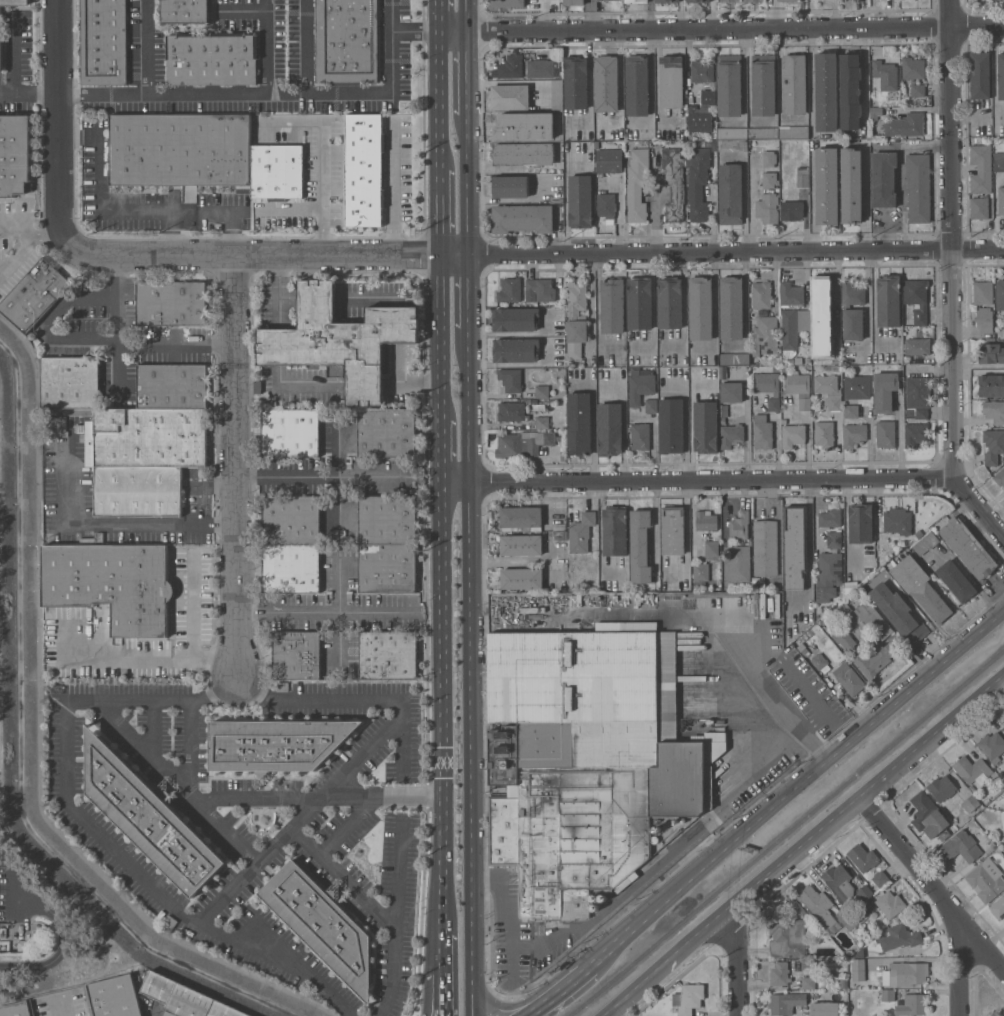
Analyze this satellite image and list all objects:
building: (600, 0)
building: (636, 0)
building: (742, 0)
building: (789, 0)
building: (666, 1)
building: (698, 1)
building: (574, 2)
building: (508, 3)
building: (185, 11)
road: (772, 15)
road: (466, 16)
road: (591, 16)
road: (437, 17)
road: (720, 30)
road: (397, 34)
building: (1, 38)
building: (348, 41)
building: (104, 42)
road: (264, 46)
road: (307, 46)
road: (12, 55)
building: (212, 60)
building: (509, 67)
building: (542, 68)
building: (912, 68)
building: (701, 71)
road: (467, 73)
building: (980, 74)
building: (885, 75)
building: (1001, 75)
road: (813, 79)
road: (864, 79)
road: (589, 81)
building: (575, 82)
building: (671, 82)
road: (780, 82)
building: (606, 83)
building: (794, 83)
building: (763, 84)
building: (637, 85)
building: (729, 85)
road: (145, 90)
building: (918, 90)
road: (29, 91)
building: (850, 91)
building: (826, 92)
road: (297, 93)
building: (556, 96)
building: (510, 97)
building: (708, 97)
road: (438, 101)
building: (875, 113)
building: (699, 120)
road: (59, 123)
building: (905, 125)
building: (512, 127)
building: (793, 132)
building: (732, 133)
building: (763, 133)
building: (732, 145)
building: (180, 149)
building: (784, 151)
building: (14, 154)
building: (523, 154)
road: (324, 158)
building: (768, 158)
building: (609, 161)
building: (998, 164)
building: (364, 169)
building: (981, 169)
building: (277, 172)
building: (803, 177)
building: (883, 179)
building: (769, 180)
building: (698, 183)
road: (467, 184)
building: (673, 184)
building: (637, 185)
building: (827, 185)
building: (851, 185)
building: (510, 186)
building: (918, 187)
road: (394, 190)
building: (730, 194)
building: (580, 201)
building: (1000, 203)
building: (606, 205)
road: (290, 208)
building: (767, 208)
building: (979, 208)
building: (791, 210)
road: (439, 212)
road: (115, 213)
building: (522, 218)
road: (168, 233)
road: (229, 233)
road: (30, 234)
road: (952, 240)
road: (536, 253)
road: (17, 254)
building: (526, 290)
road: (281, 291)
building: (791, 294)
building: (35, 295)
building: (761, 295)
building: (1000, 295)
road: (467, 299)
building: (888, 301)
building: (915, 301)
building: (669, 302)
building: (171, 303)
building: (639, 303)
building: (612, 305)
building: (983, 305)
road: (714, 307)
building: (700, 308)
building: (731, 308)
road: (598, 309)
building: (852, 311)
building: (515, 319)
building: (576, 319)
road: (49, 323)
building: (906, 324)
building: (792, 331)
building: (765, 336)
road: (440, 337)
building: (340, 340)
building: (917, 346)
road: (279, 347)
road: (128, 349)
building: (515, 350)
building: (991, 353)
building: (734, 359)
building: (807, 360)
building: (776, 361)
road: (979, 365)
building: (776, 368)
building: (510, 379)
building: (70, 382)
road: (412, 382)
building: (766, 382)
road: (365, 384)
road: (303, 385)
building: (991, 385)
building: (172, 386)
building: (640, 386)
building: (857, 387)
building: (798, 388)
building: (828, 390)
building: (541, 391)
building: (884, 391)
building: (731, 392)
building: (918, 396)
building: (773, 404)
building: (651, 405)
building: (510, 411)
building: (851, 411)
building: (994, 411)
building: (541, 422)
building: (579, 423)
road: (624, 425)
building: (58, 426)
road: (593, 426)
building: (671, 426)
road: (685, 426)
building: (705, 427)
building: (609, 429)
building: (762, 432)
building: (290, 433)
building: (386, 433)
building: (824, 434)
building: (853, 434)
building: (885, 434)
building: (915, 434)
building: (792, 435)
building: (639, 436)
building: (731, 436)
road: (654, 438)
road: (900, 439)
building: (64, 443)
building: (523, 443)
building: (993, 446)
road: (777, 449)
road: (442, 450)
building: (143, 458)
road: (233, 467)
building: (999, 477)
road: (326, 480)
road: (736, 481)
road: (816, 516)
building: (520, 517)
building: (829, 518)
building: (291, 520)
building: (387, 520)
building: (705, 521)
building: (897, 521)
building: (879, 522)
building: (860, 523)
road: (124, 524)
building: (739, 526)
building: (672, 530)
building: (614, 531)
building: (581, 532)
building: (918, 533)
building: (560, 535)
road: (687, 536)
building: (834, 539)
building: (926, 543)
building: (521, 544)
building: (883, 545)
building: (640, 546)
building: (795, 546)
building: (967, 547)
building: (711, 548)
building: (765, 548)
road: (809, 548)
building: (738, 564)
building: (291, 568)
building: (387, 568)
building: (700, 574)
building: (828, 576)
building: (521, 578)
building: (956, 581)
building: (112, 584)
road: (338, 584)
building: (921, 587)
road: (193, 607)
road: (322, 610)
building: (842, 611)
building: (898, 613)
building: (873, 620)
building: (842, 637)
road: (716, 638)
building: (296, 655)
building: (388, 655)
road: (142, 658)
building: (876, 659)
building: (819, 661)
building: (848, 678)
road: (469, 679)
road: (442, 684)
road: (357, 698)
road: (104, 700)
building: (1003, 720)
building: (1003, 722)
road: (153, 727)
building: (277, 743)
road: (190, 746)
building: (992, 746)
river: (23, 748)
road: (808, 751)
road: (362, 753)
building: (587, 759)
building: (785, 762)
road: (816, 769)
building: (972, 770)
road: (177, 782)
building: (941, 788)
building: (971, 788)
road: (381, 794)
road: (259, 797)
building: (970, 804)
building: (928, 817)
building: (149, 818)
road: (350, 825)
building: (656, 829)
railway: (786, 832)
building: (1003, 836)
building: (654, 839)
road: (804, 843)
building: (962, 845)
building: (863, 857)
road: (259, 858)
building: (986, 877)
building: (879, 878)
road: (343, 879)
building: (839, 882)
road: (929, 887)
road: (625, 891)
building: (864, 892)
parking lot: (15, 897)
building: (594, 897)
building: (602, 898)
building: (888, 904)
building: (818, 905)
building: (595, 907)
building: (998, 907)
road: (444, 912)
building: (861, 914)
road: (395, 917)
building: (846, 918)
park: (67, 922)
road: (201, 923)
building: (321, 924)
building: (788, 934)
building: (899, 937)
road: (610, 950)
road: (59, 955)
road: (738, 958)
building: (808, 964)
building: (857, 970)
road: (959, 970)
building: (907, 973)
road: (429, 974)
building: (779, 974)
road: (444, 976)
building: (808, 983)
building: (843, 983)
road: (568, 985)
building: (887, 995)
building: (113, 997)
building: (185, 998)
building: (689, 998)
building: (785, 1003)
building: (911, 1005)
road: (62, 1007)
road: (537, 1008)
building: (16, 1009)
road: (503, 1009)
building: (824, 1009)

